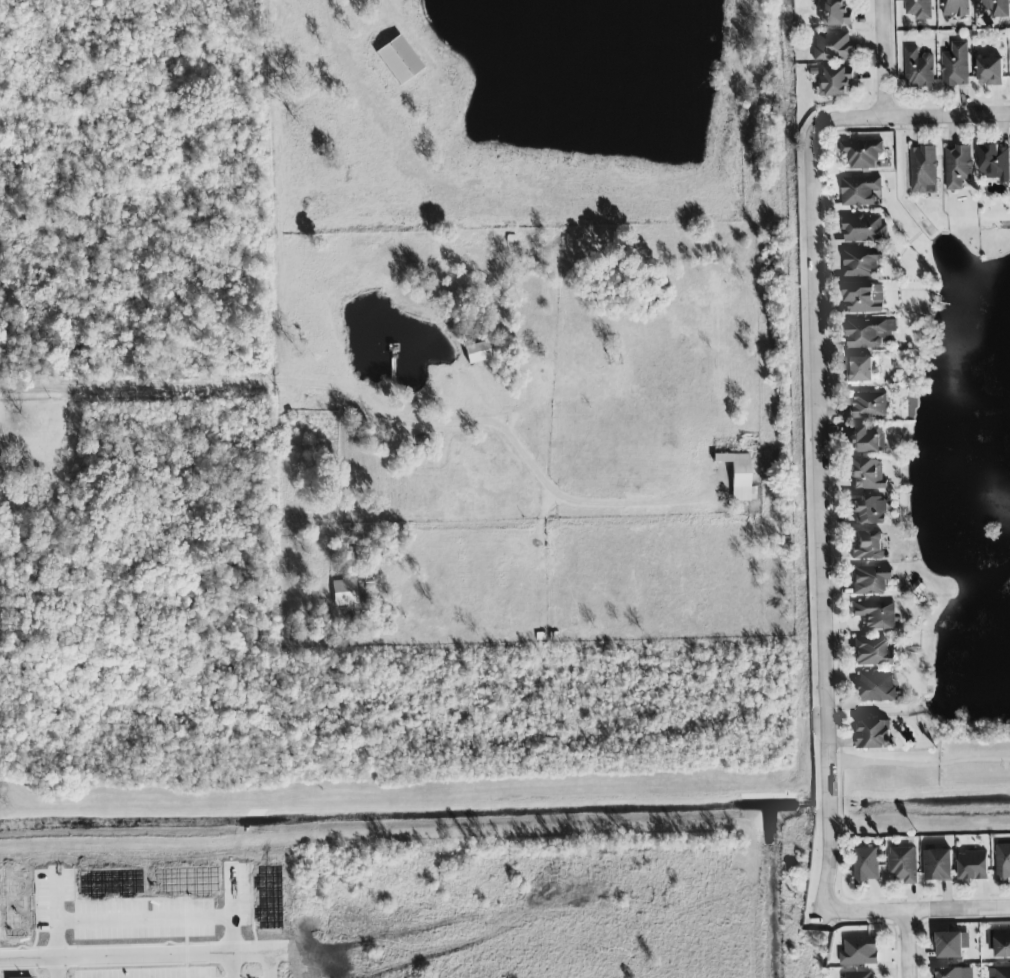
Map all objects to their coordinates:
road: (391, 3)
building: (996, 6)
building: (955, 8)
building: (919, 9)
building: (834, 13)
building: (833, 47)
road: (885, 59)
building: (399, 60)
building: (955, 65)
building: (919, 69)
building: (990, 71)
building: (834, 82)
road: (948, 116)
building: (862, 153)
building: (995, 162)
building: (957, 166)
building: (924, 169)
building: (860, 191)
building: (864, 229)
building: (862, 262)
building: (864, 297)
building: (869, 333)
building: (477, 353)
building: (860, 369)
road: (140, 386)
building: (868, 405)
road: (502, 433)
building: (867, 439)
building: (867, 474)
building: (738, 476)
road: (824, 480)
building: (870, 510)
park: (961, 522)
building: (868, 546)
building: (870, 580)
building: (876, 614)
building: (872, 652)
building: (875, 687)
building: (875, 734)
road: (920, 766)
building: (1003, 862)
building: (938, 864)
building: (866, 865)
building: (903, 865)
building: (973, 865)
road: (917, 909)
building: (999, 942)
road: (909, 944)
building: (951, 944)
building: (860, 951)
road: (136, 959)
road: (232, 967)
road: (59, 969)
building: (954, 972)
building: (1000, 972)
building: (857, 974)

